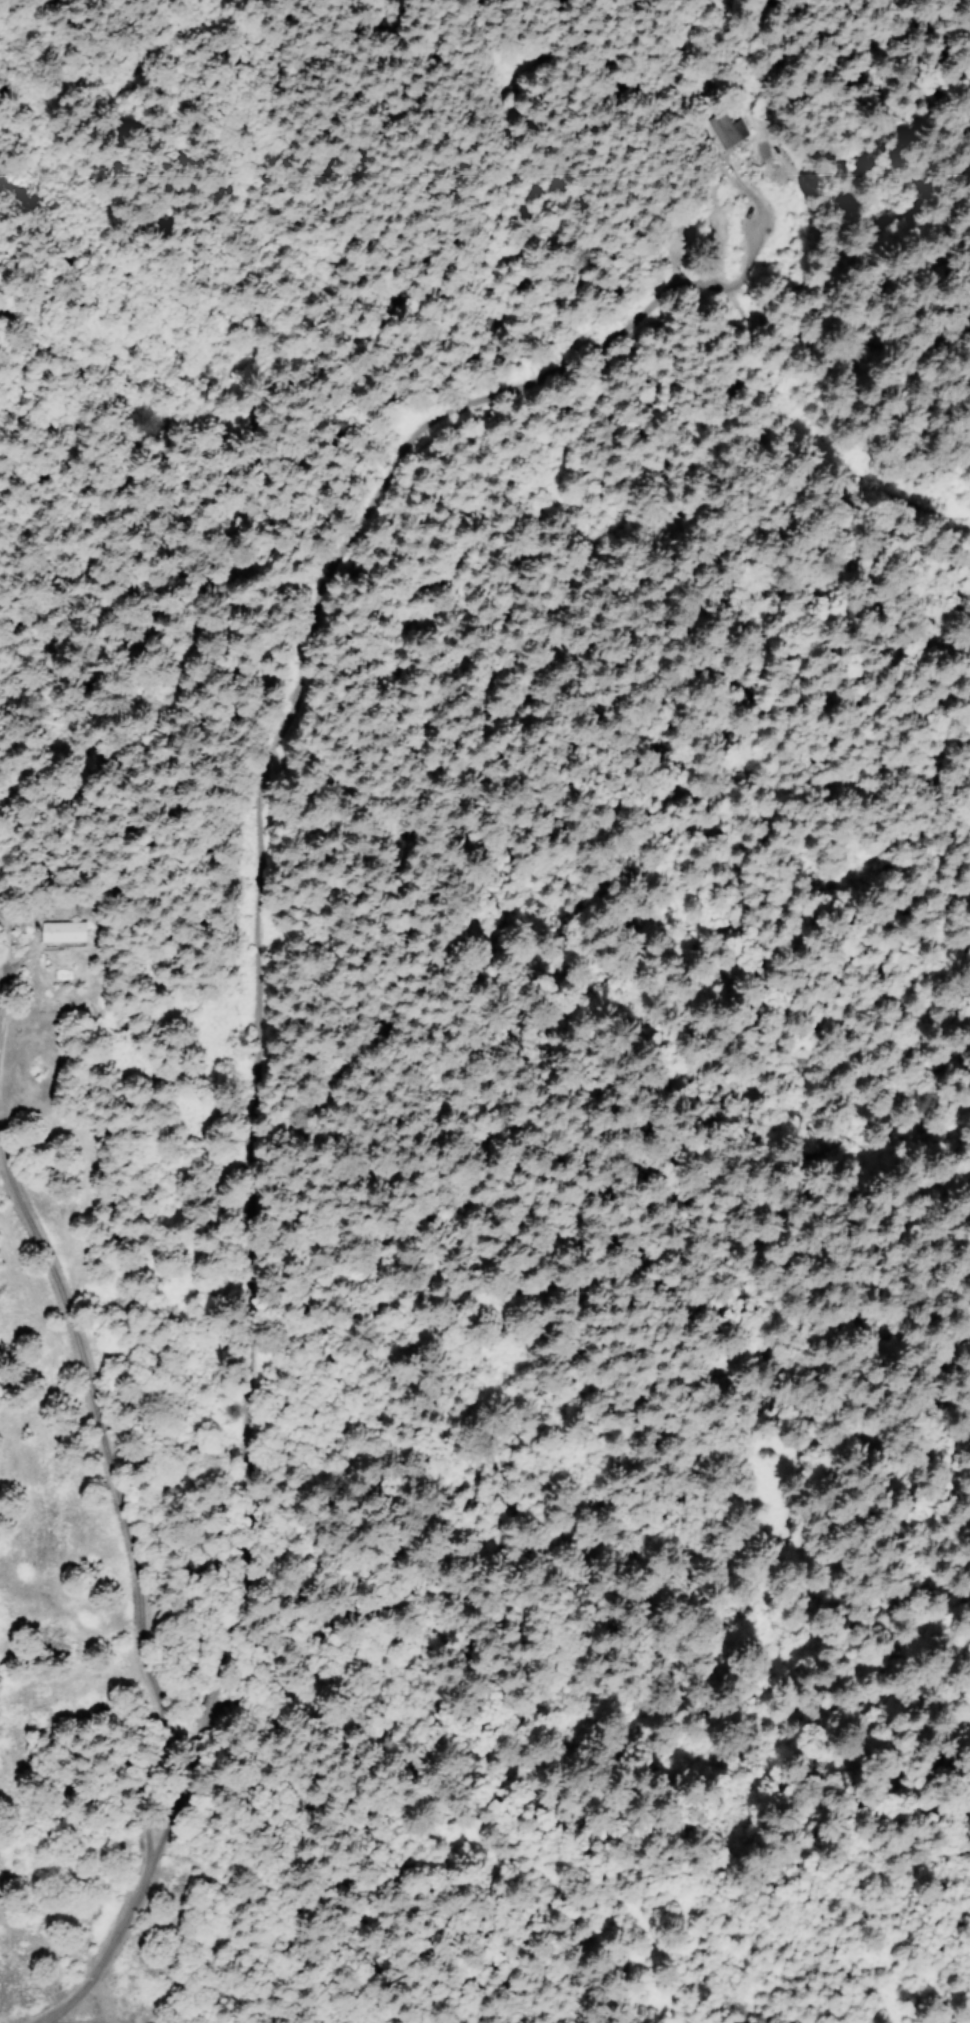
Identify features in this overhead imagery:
road: (22, 921)
road: (5, 1013)
road: (139, 1592)

